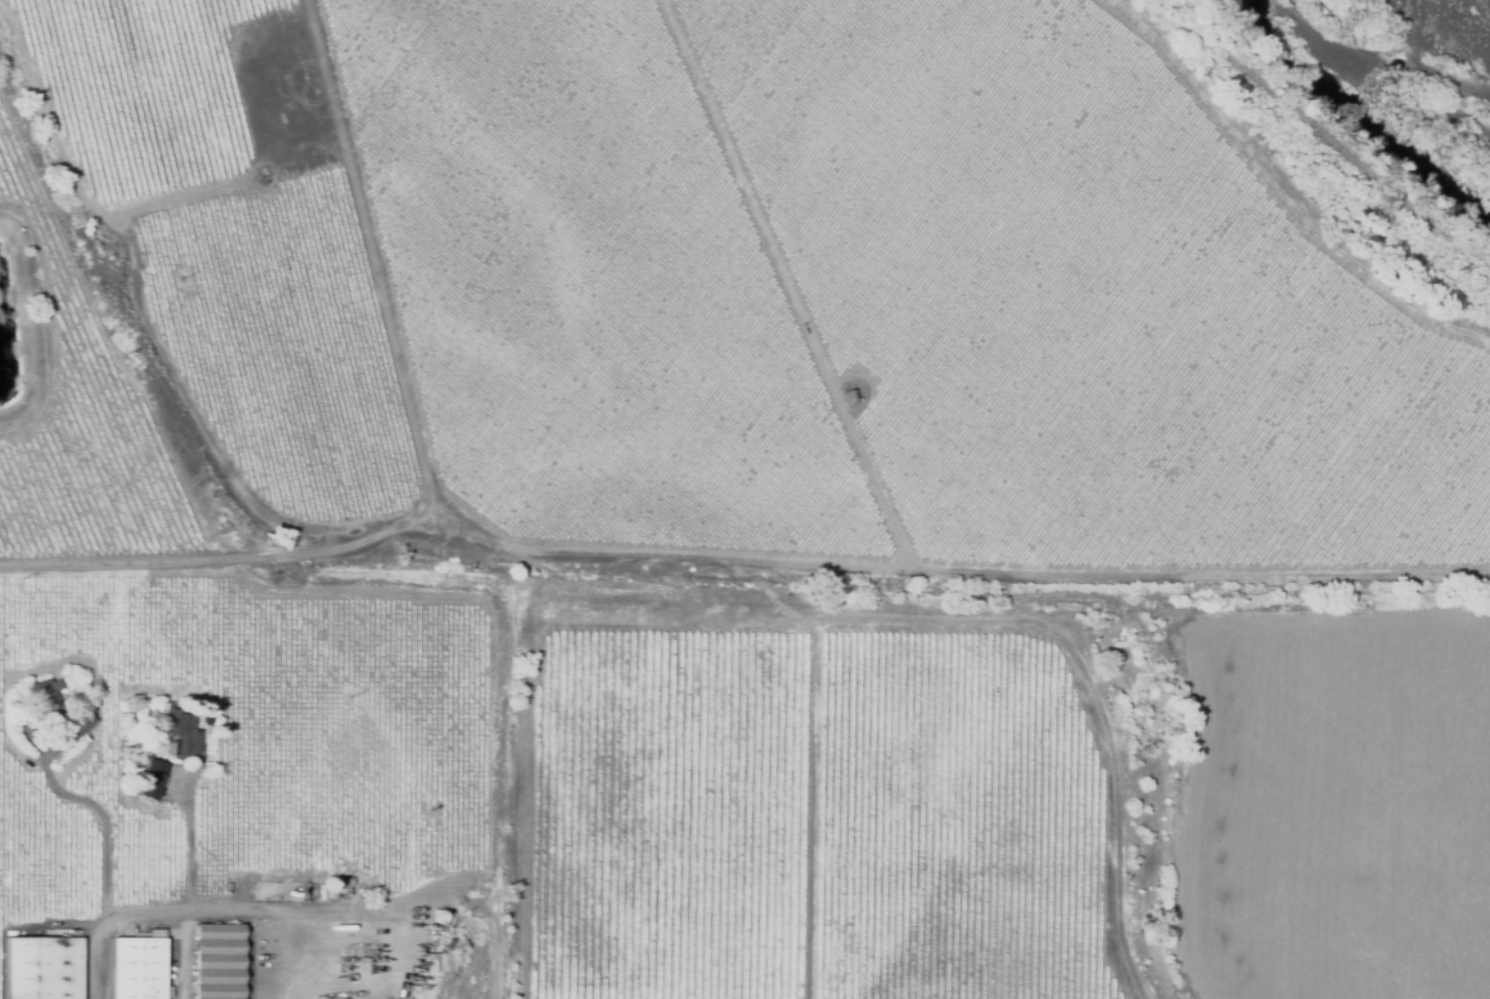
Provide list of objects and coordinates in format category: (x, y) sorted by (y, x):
river: (1374, 119)
road: (1291, 188)
road: (363, 257)
road: (774, 284)
building: (849, 397)
building: (398, 408)
road: (738, 557)
road: (937, 617)
building: (68, 658)
building: (42, 699)
building: (80, 723)
building: (182, 736)
building: (149, 779)
building: (330, 895)
road: (223, 908)
building: (216, 962)
building: (41, 968)
building: (136, 969)
building: (378, 992)

